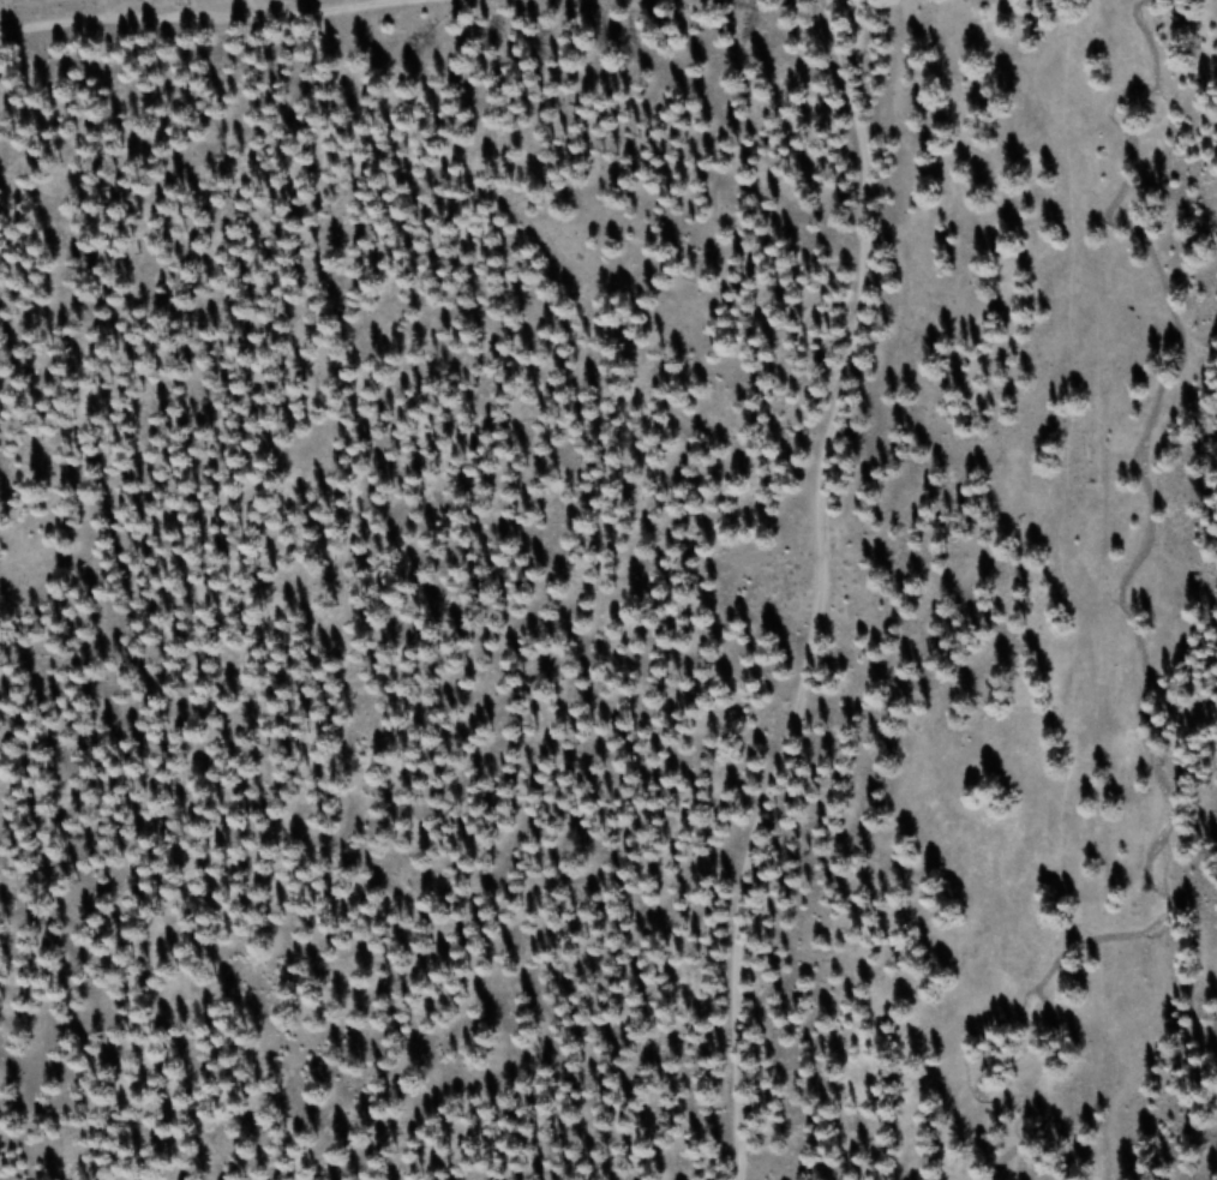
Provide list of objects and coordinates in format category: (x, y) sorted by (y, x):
road: (819, 592)

